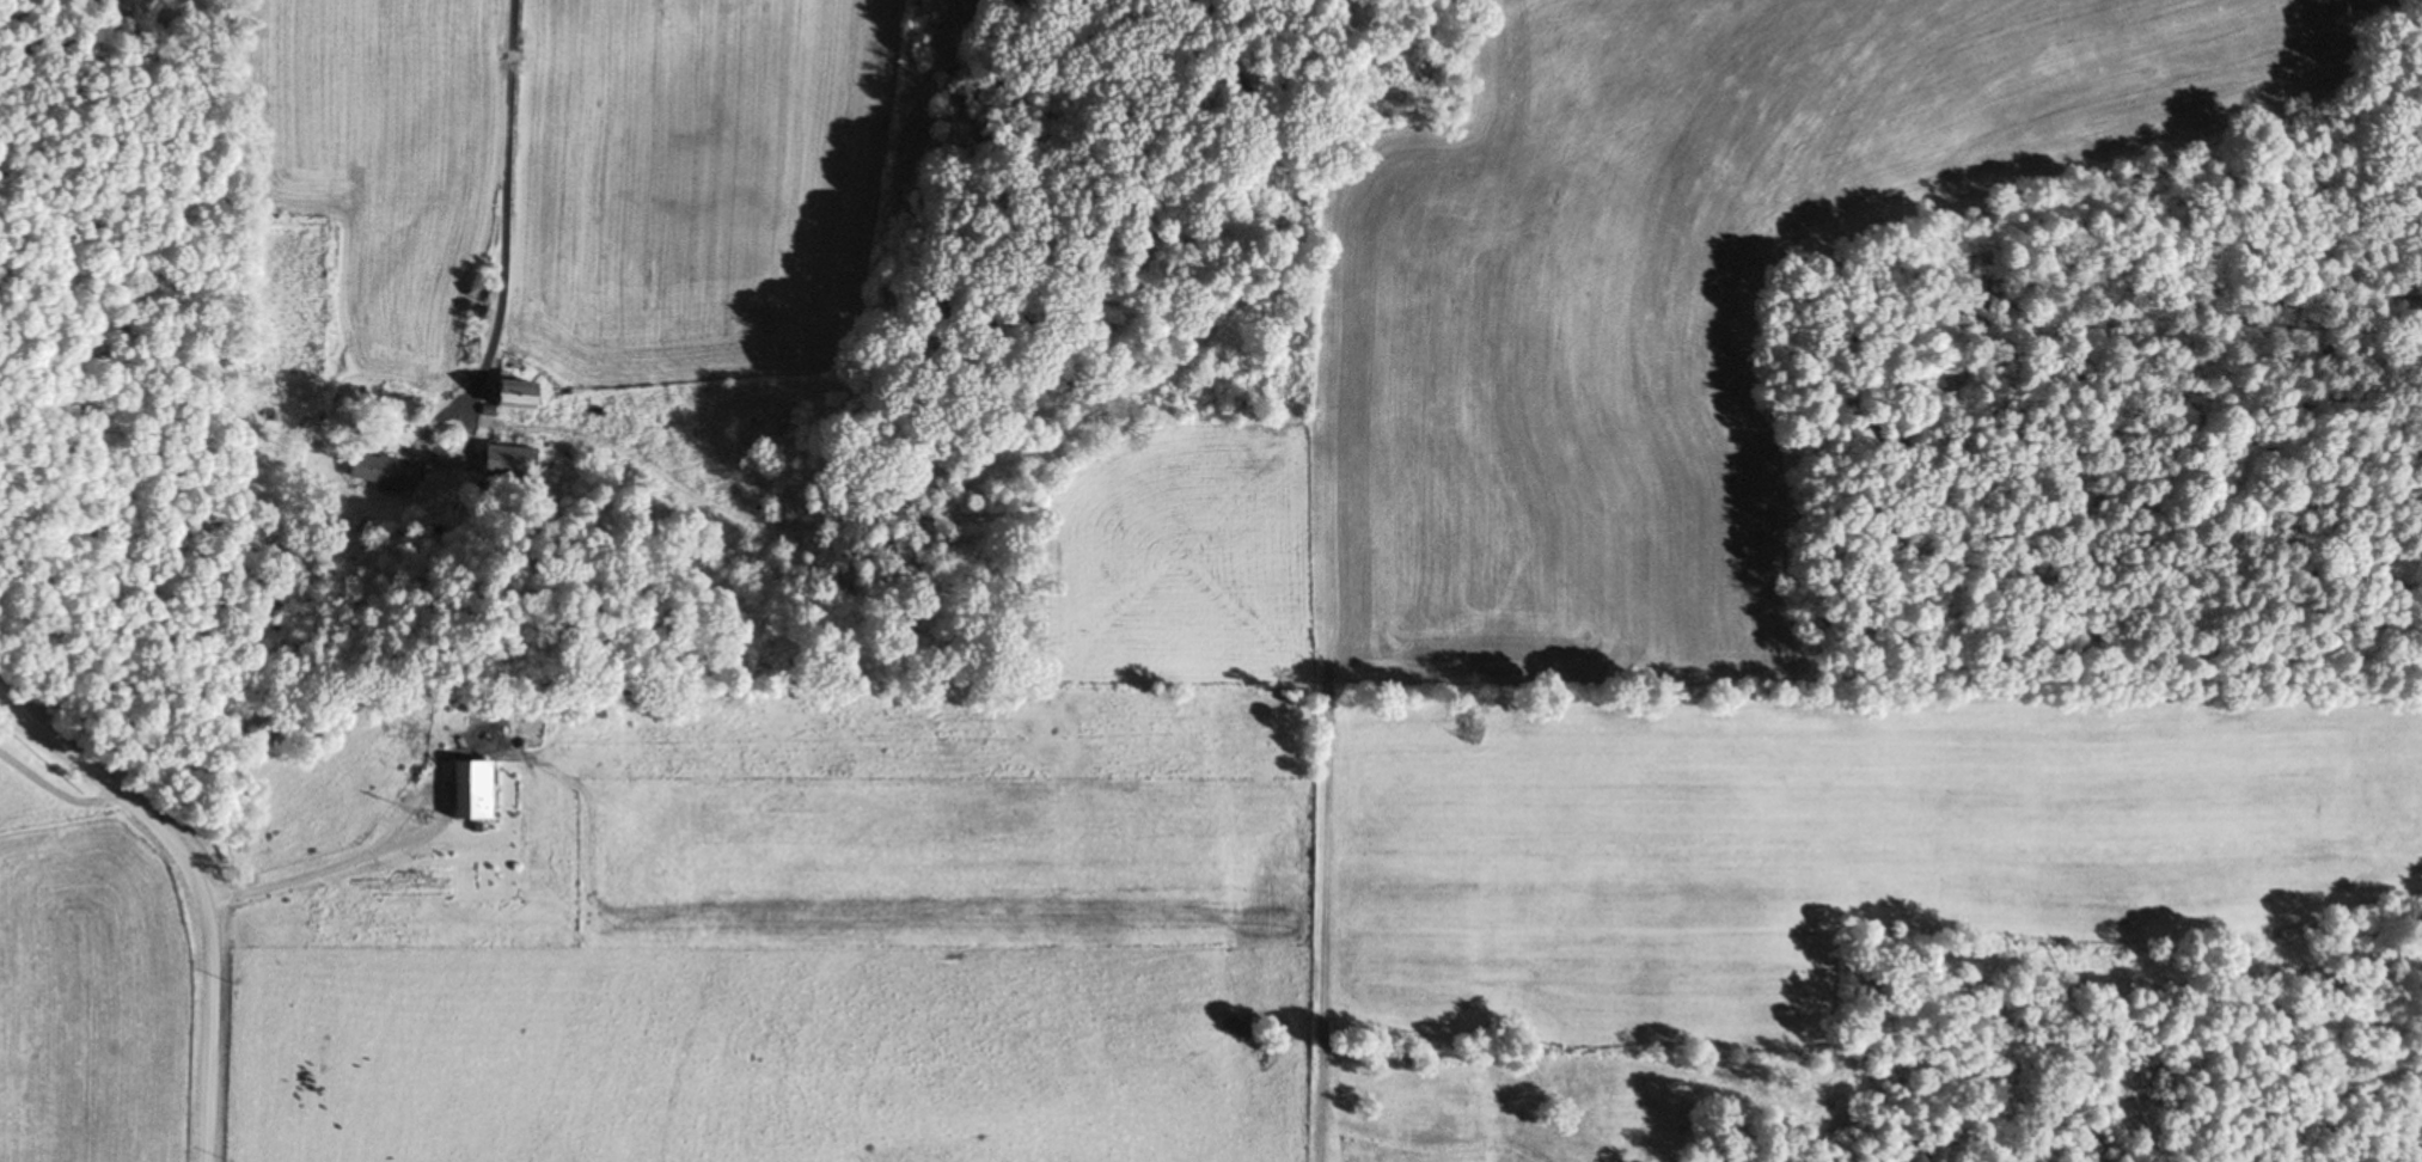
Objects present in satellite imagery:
road: (336, 87)
road: (501, 210)
building: (508, 463)
road: (439, 465)
building: (386, 473)
building: (475, 789)
road: (192, 888)

